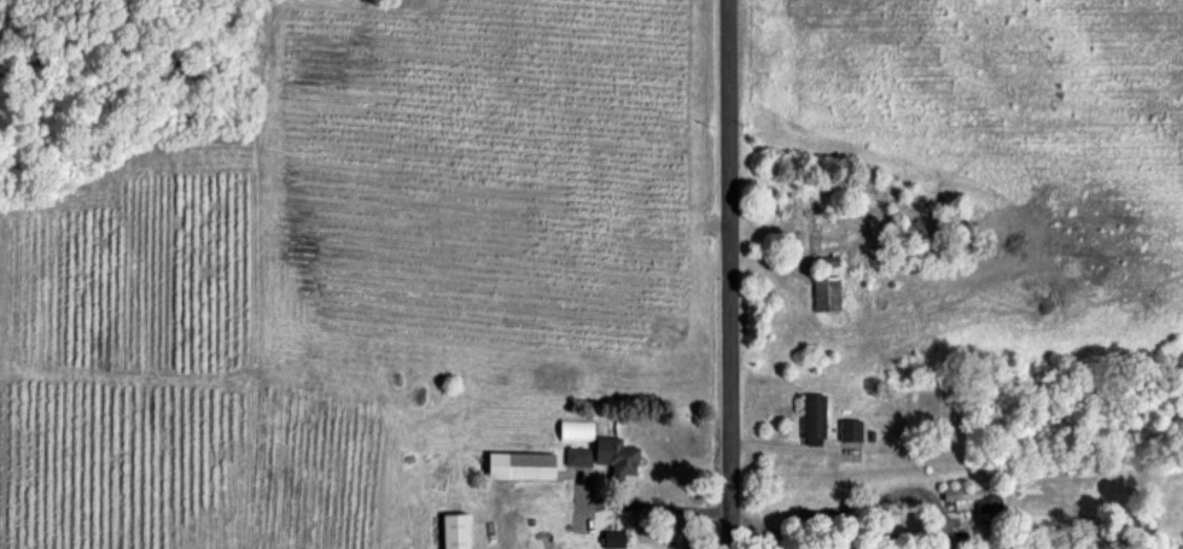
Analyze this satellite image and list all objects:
road: (718, 274)
building: (826, 292)
building: (811, 419)
building: (575, 428)
building: (849, 430)
building: (577, 455)
building: (614, 455)
building: (518, 465)
building: (974, 496)
road: (495, 528)
building: (453, 531)
building: (612, 538)

